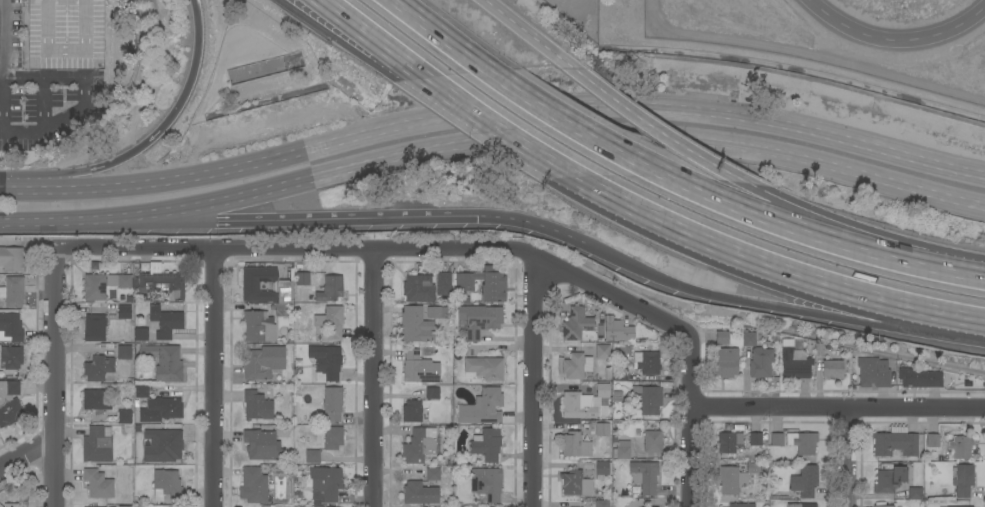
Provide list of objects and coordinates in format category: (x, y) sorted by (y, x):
road: (338, 20)
road: (351, 20)
road: (426, 28)
road: (522, 29)
airport: (810, 38)
road: (2, 39)
road: (897, 40)
road: (394, 52)
road: (43, 78)
road: (616, 100)
road: (176, 106)
road: (560, 107)
road: (43, 109)
road: (68, 127)
road: (575, 130)
road: (506, 132)
road: (565, 133)
road: (839, 137)
road: (698, 164)
road: (250, 165)
road: (840, 169)
road: (325, 174)
road: (78, 179)
road: (34, 189)
road: (743, 202)
road: (728, 206)
road: (267, 210)
traffic signals: (475, 216)
road: (398, 217)
road: (106, 218)
road: (530, 223)
road: (840, 245)
road: (416, 250)
road: (744, 254)
building: (10, 260)
road: (951, 273)
building: (302, 279)
building: (473, 283)
building: (135, 284)
building: (253, 285)
road: (681, 285)
building: (419, 288)
building: (329, 289)
building: (14, 292)
building: (284, 292)
road: (835, 303)
road: (934, 309)
building: (281, 310)
building: (124, 312)
building: (436, 312)
building: (330, 321)
building: (481, 321)
building: (165, 322)
building: (576, 324)
building: (415, 325)
building: (10, 327)
building: (258, 327)
building: (94, 328)
building: (617, 330)
building: (141, 334)
building: (722, 337)
building: (748, 338)
building: (825, 349)
building: (602, 351)
building: (124, 353)
building: (11, 357)
building: (326, 361)
building: (164, 362)
building: (645, 362)
building: (726, 362)
building: (794, 362)
building: (260, 363)
building: (760, 363)
building: (576, 366)
building: (419, 368)
building: (483, 368)
building: (99, 369)
building: (832, 369)
building: (873, 372)
road: (52, 378)
building: (919, 378)
road: (210, 379)
road: (371, 379)
road: (531, 381)
building: (141, 391)
building: (432, 393)
building: (618, 397)
building: (94, 399)
building: (646, 399)
building: (9, 403)
building: (583, 403)
building: (332, 404)
building: (256, 406)
building: (165, 407)
building: (482, 408)
road: (836, 409)
building: (411, 411)
building: (125, 417)
building: (137, 419)
building: (137, 428)
building: (602, 429)
building: (332, 437)
building: (755, 439)
building: (776, 439)
building: (932, 440)
building: (652, 441)
building: (729, 442)
building: (802, 443)
building: (895, 443)
building: (486, 444)
building: (97, 445)
building: (162, 445)
building: (419, 445)
building: (575, 445)
building: (262, 446)
building: (960, 447)
building: (621, 450)
road: (26, 454)
building: (312, 456)
road: (687, 458)
road: (841, 458)
building: (602, 469)
building: (433, 474)
building: (644, 477)
building: (734, 477)
building: (889, 480)
building: (963, 480)
building: (804, 481)
building: (326, 482)
building: (486, 483)
building: (98, 484)
building: (576, 484)
building: (166, 485)
building: (253, 485)
building: (419, 494)
building: (914, 494)
building: (602, 503)
building: (10, 505)
building: (741, 505)
building: (793, 505)
building: (0, 506)
building: (883, 506)
building: (970, 506)

